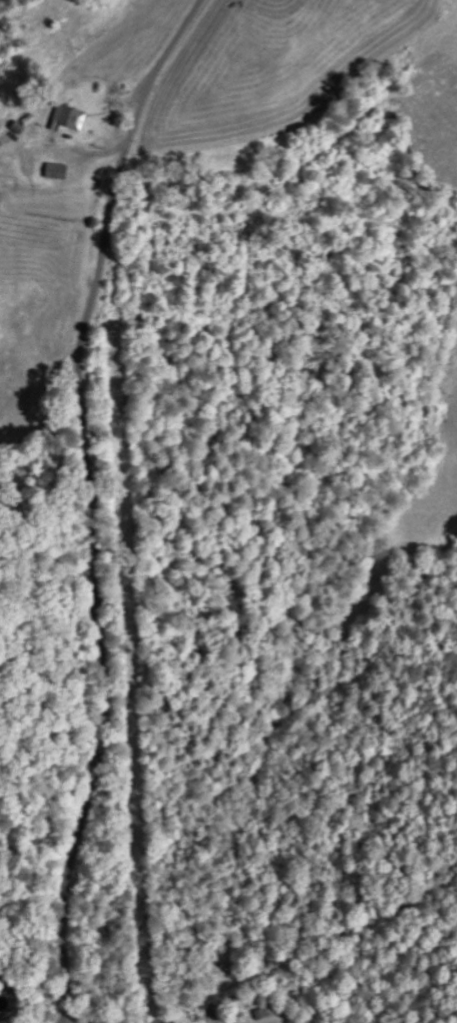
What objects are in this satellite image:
road: (92, 502)

